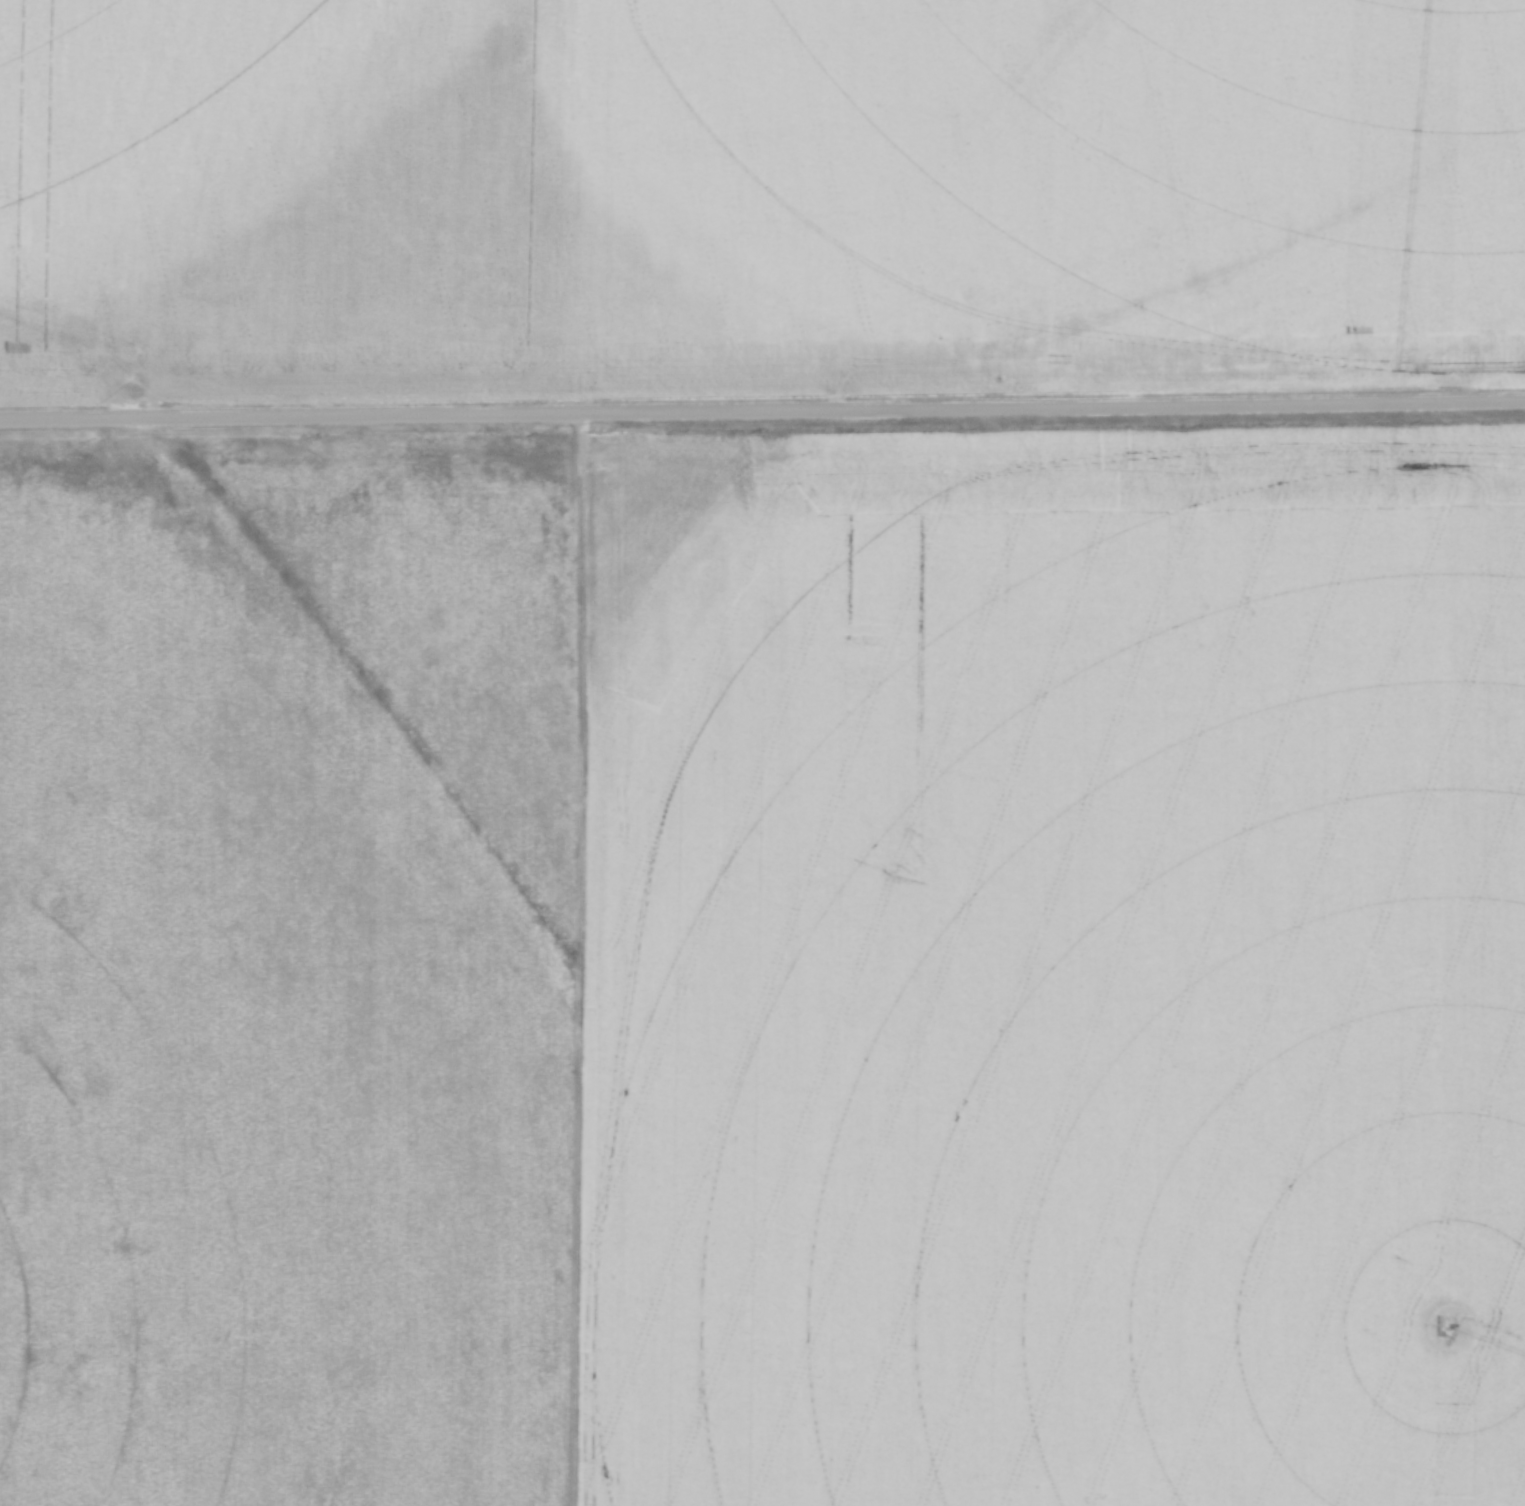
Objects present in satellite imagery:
road: (762, 408)

